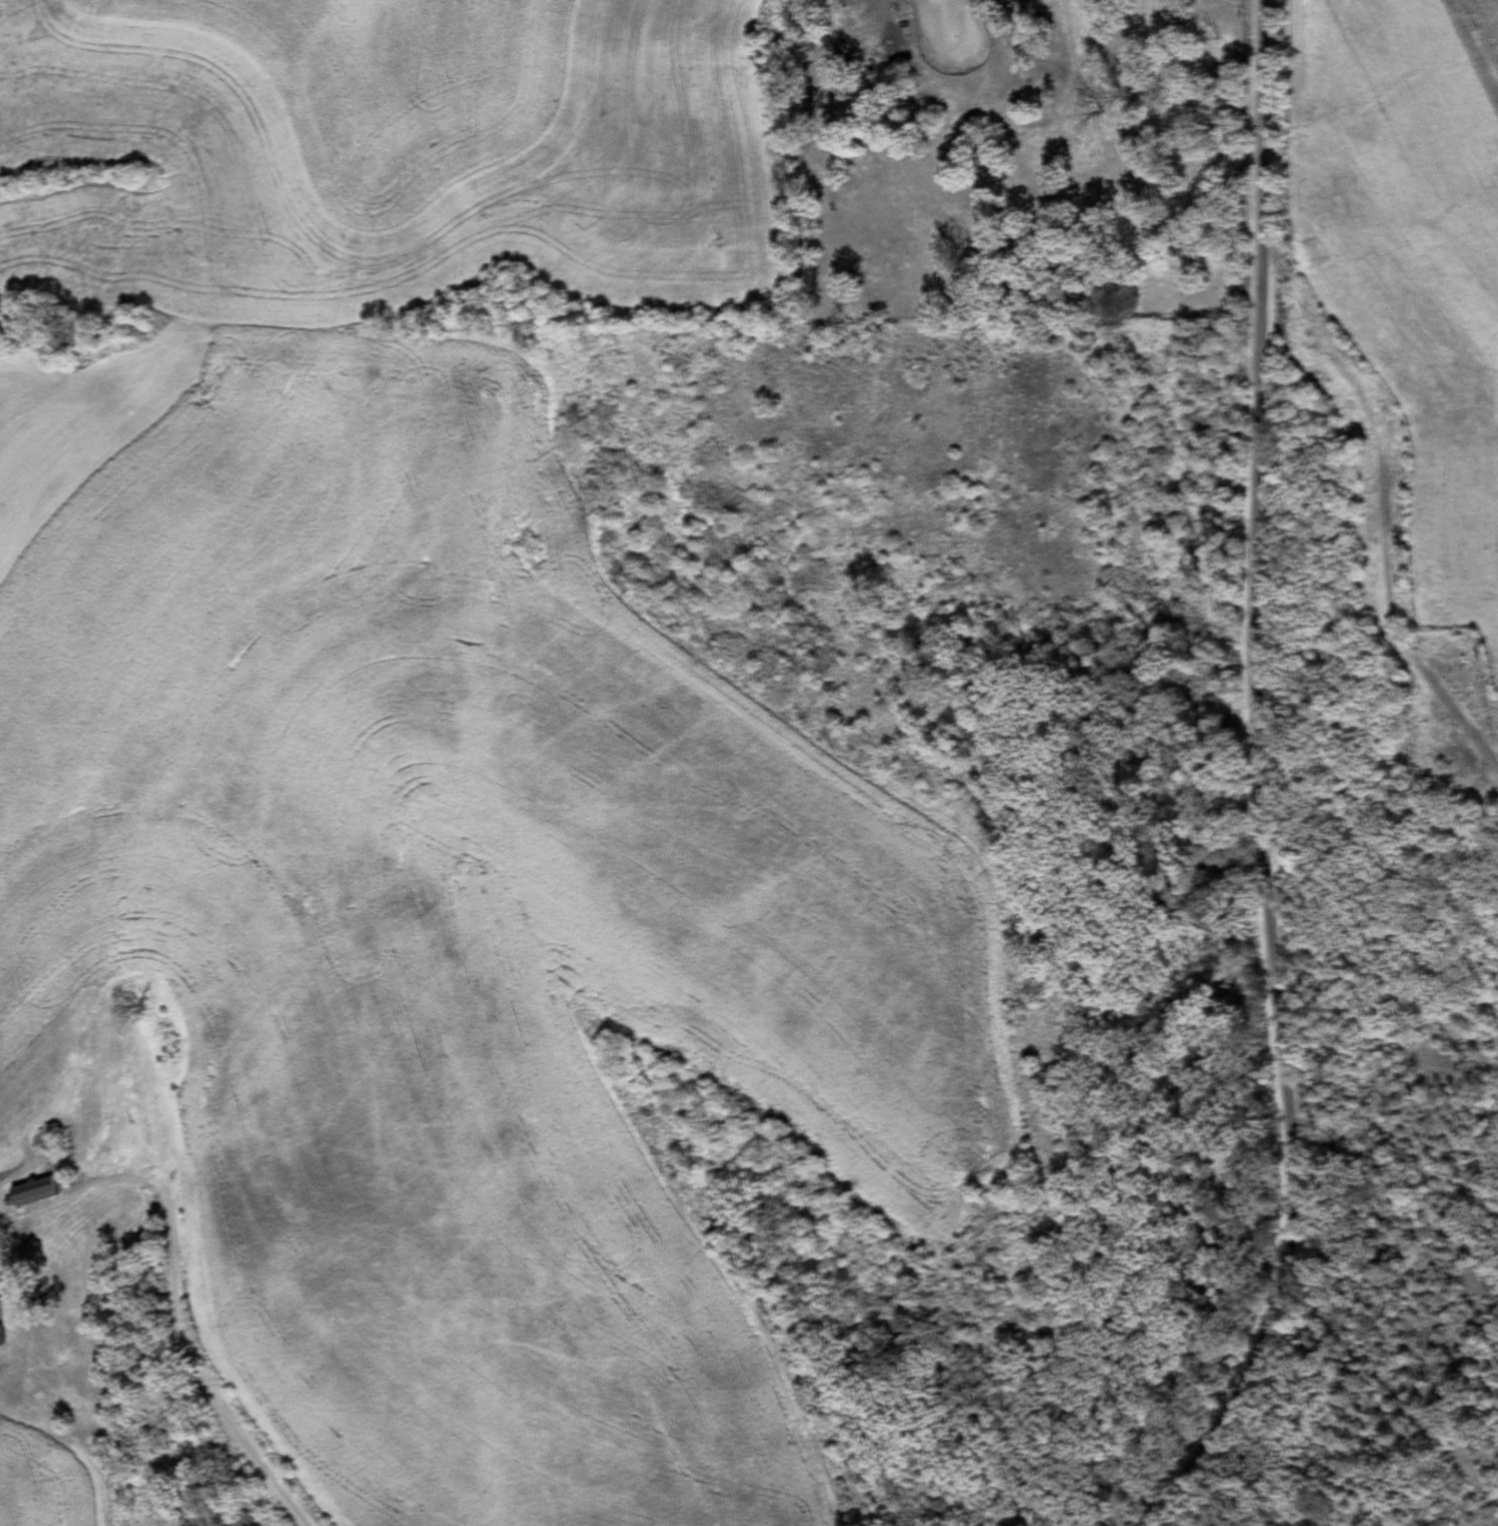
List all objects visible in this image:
building: (1455, 652)
road: (1259, 780)
building: (29, 1192)
building: (0, 1344)
building: (66, 1399)
road: (235, 1410)

